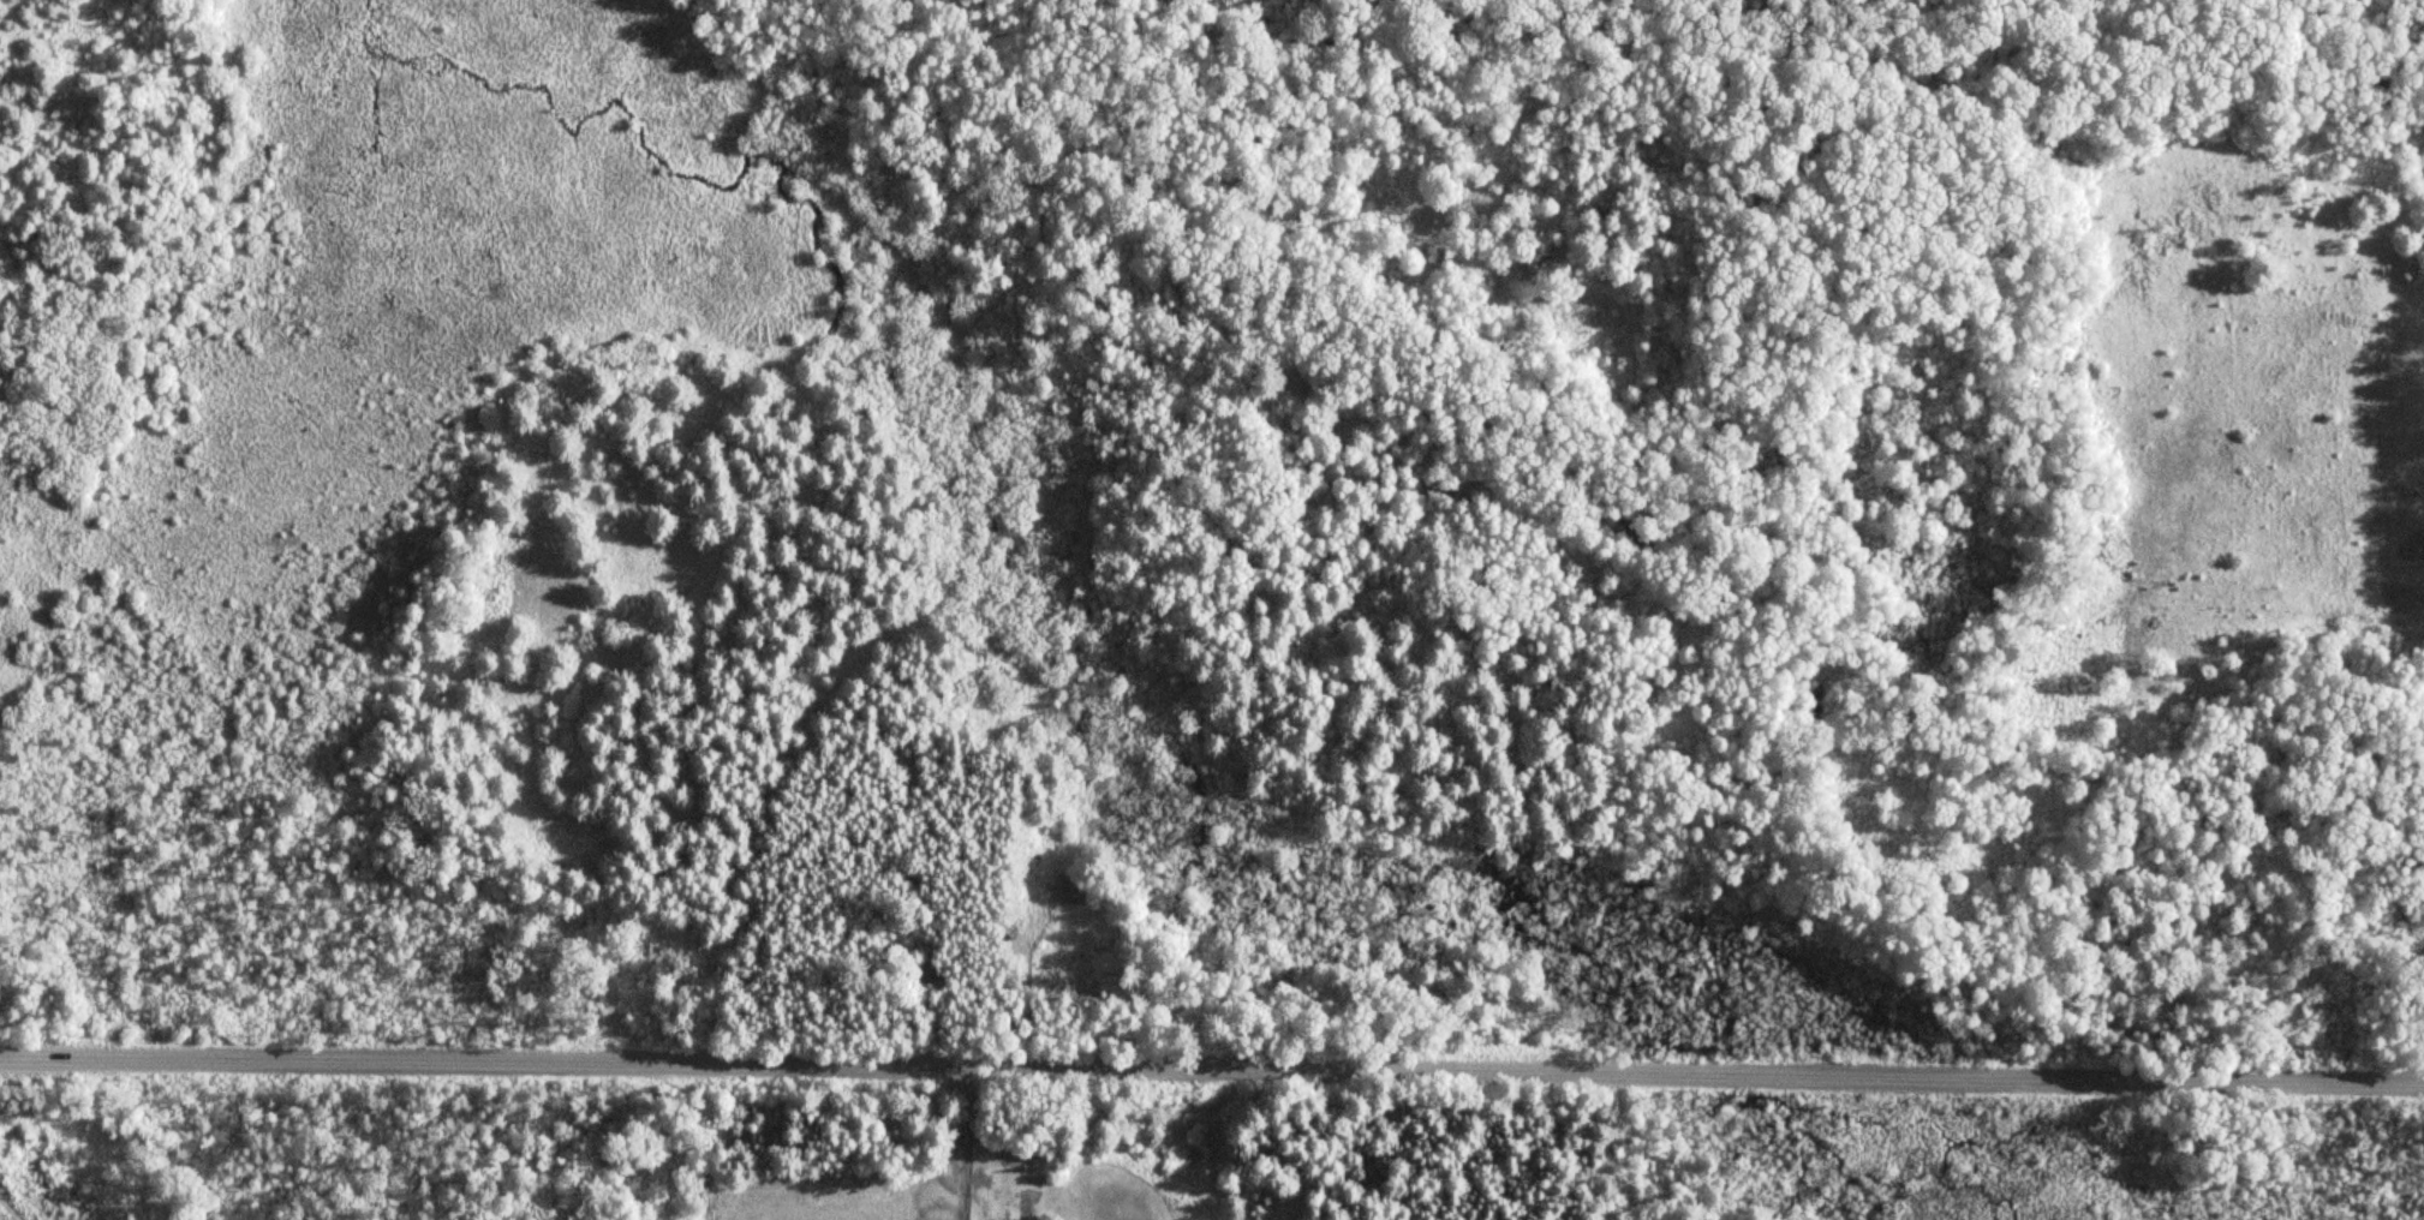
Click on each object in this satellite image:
road: (1212, 1067)
park: (1223, 1198)

